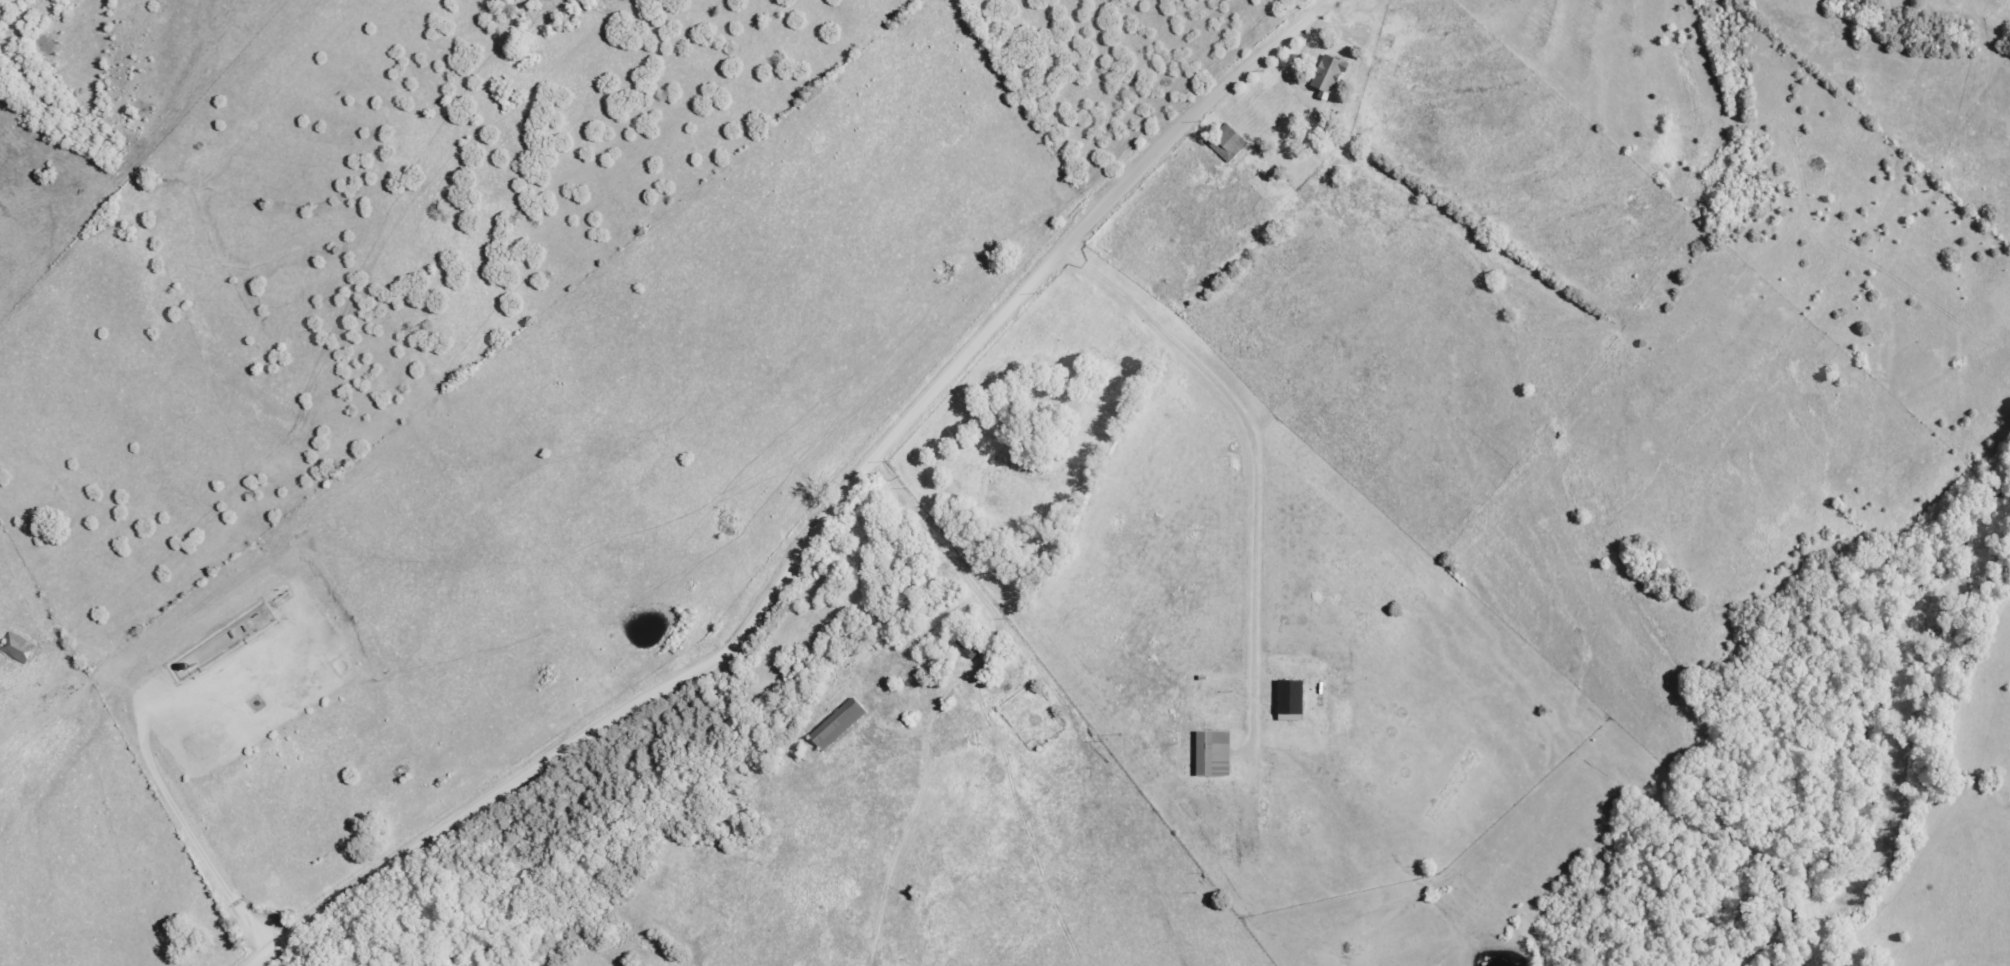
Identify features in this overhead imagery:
building: (1326, 75)
road: (1009, 116)
building: (1225, 144)
road: (823, 523)
building: (1287, 700)
building: (834, 725)
building: (1210, 754)

